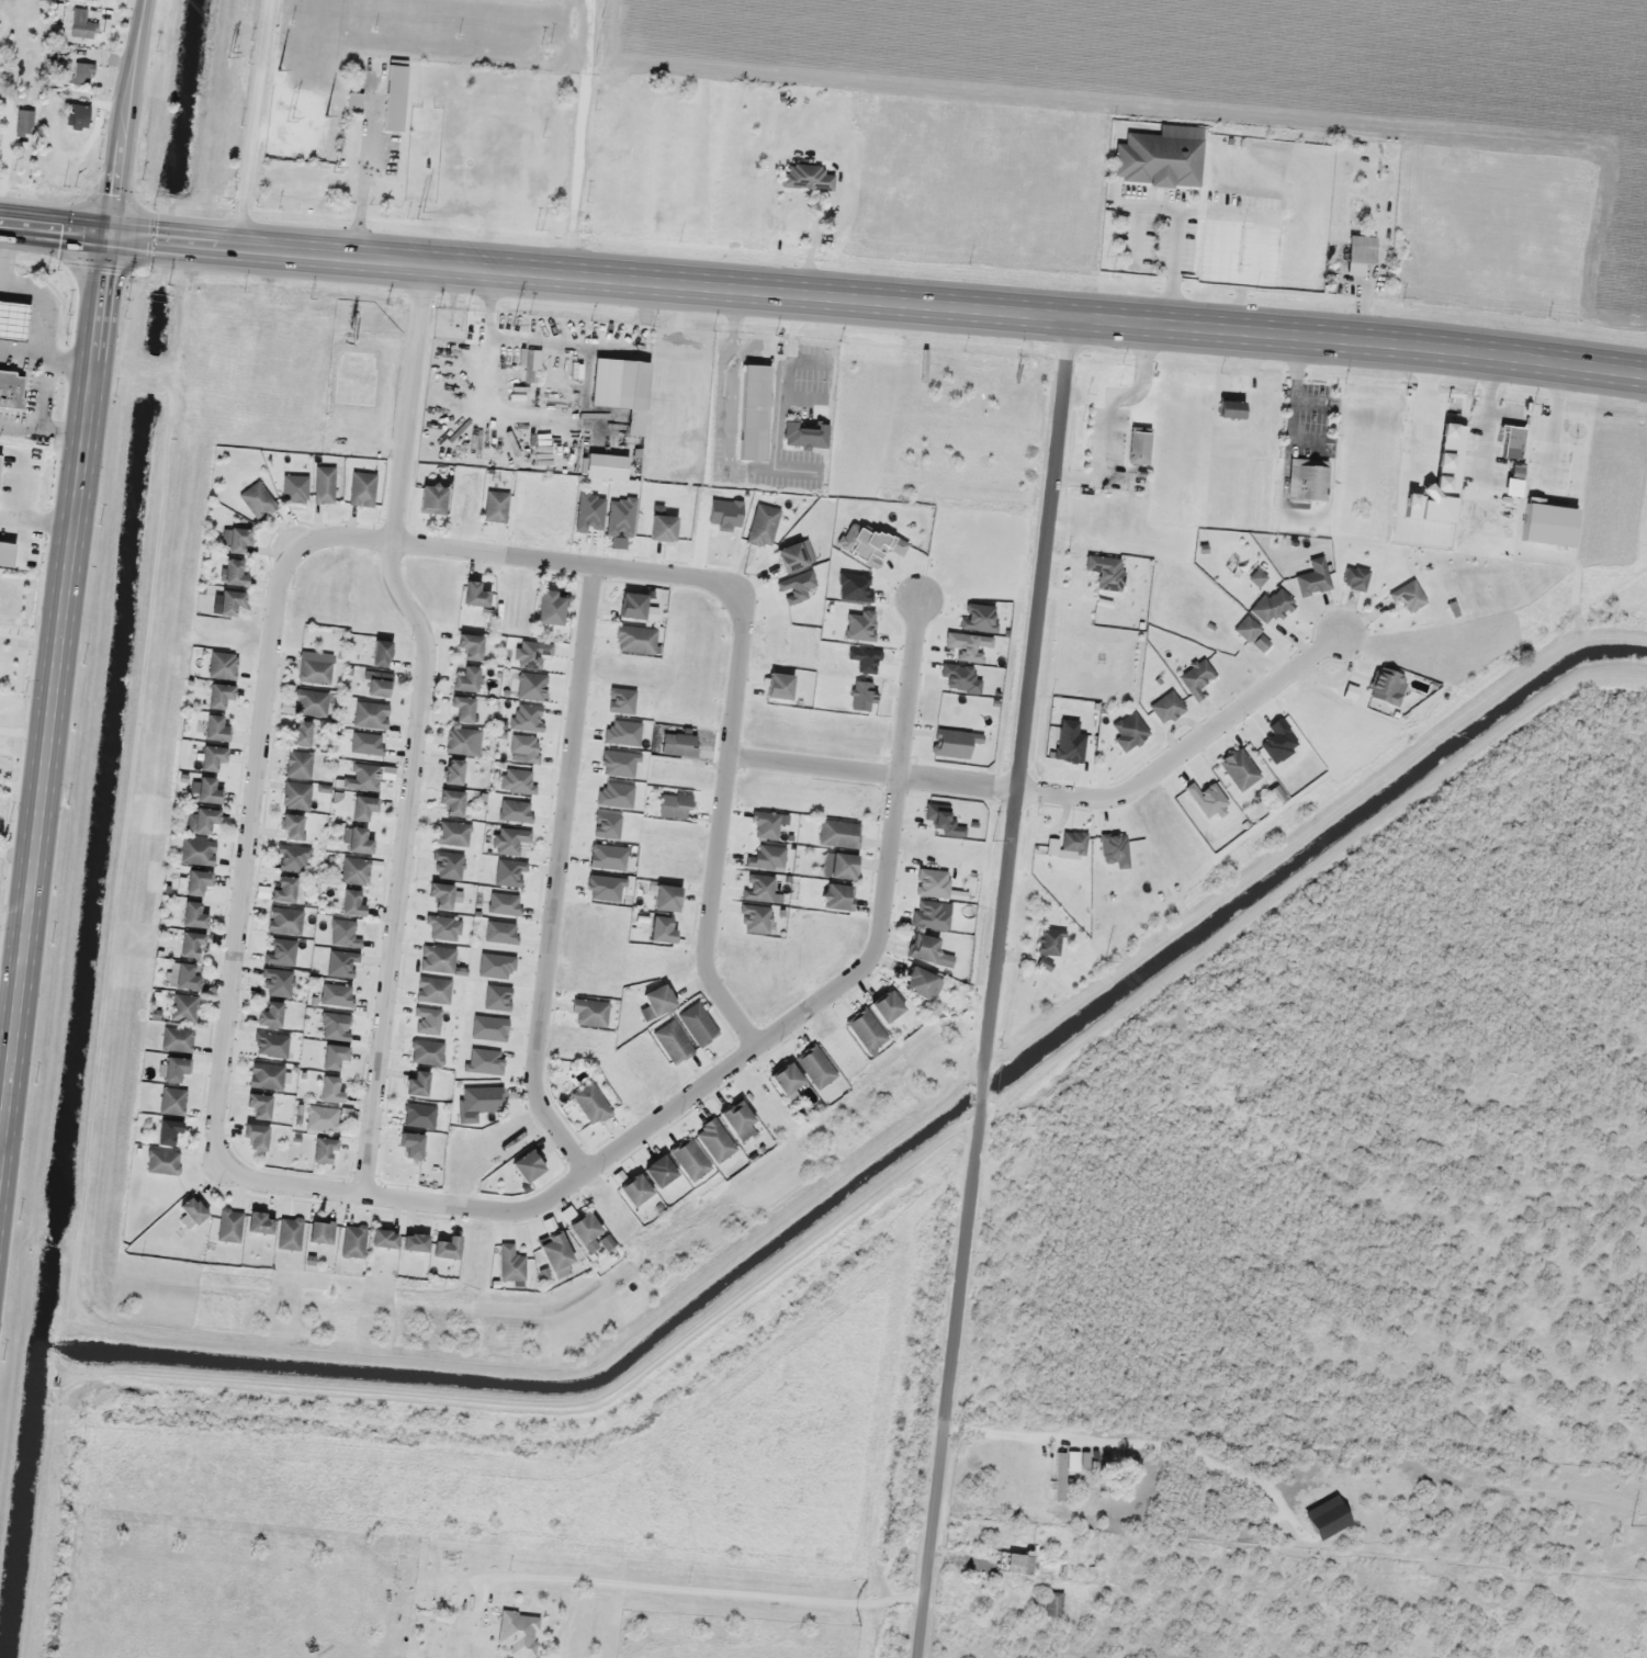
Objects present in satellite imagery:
building: (82, 25)
building: (82, 75)
building: (394, 98)
building: (353, 102)
building: (76, 116)
building: (24, 123)
road: (135, 123)
road: (253, 124)
building: (1159, 160)
building: (808, 178)
traffic signals: (122, 237)
building: (1361, 249)
road: (823, 295)
building: (12, 320)
building: (630, 385)
building: (11, 390)
road: (409, 407)
building: (753, 414)
building: (805, 435)
building: (1138, 447)
building: (1308, 480)
building: (324, 484)
building: (295, 488)
building: (362, 488)
building: (431, 498)
building: (257, 500)
building: (495, 506)
building: (764, 526)
building: (662, 527)
building: (238, 540)
building: (872, 542)
building: (790, 556)
building: (234, 572)
building: (1313, 578)
building: (1355, 578)
building: (474, 594)
building: (1408, 596)
building: (229, 601)
building: (631, 605)
building: (1272, 606)
building: (549, 607)
building: (1252, 634)
building: (635, 639)
building: (470, 646)
building: (380, 653)
building: (223, 665)
building: (315, 672)
building: (1196, 677)
building: (465, 679)
building: (379, 684)
building: (778, 685)
building: (1387, 687)
road: (268, 688)
building: (218, 695)
building: (311, 702)
building: (1166, 707)
building: (461, 709)
building: (371, 715)
building: (214, 729)
building: (1129, 730)
building: (301, 733)
road: (60, 737)
building: (460, 741)
building: (212, 757)
building: (298, 765)
building: (1239, 769)
building: (453, 771)
building: (207, 791)
building: (296, 796)
road: (1072, 798)
building: (451, 802)
building: (362, 807)
building: (202, 820)
building: (290, 827)
building: (453, 834)
building: (839, 834)
building: (358, 841)
building: (1073, 842)
building: (198, 851)
road: (895, 853)
building: (839, 866)
building: (356, 870)
road: (401, 872)
road: (562, 879)
building: (196, 882)
building: (283, 889)
building: (440, 894)
building: (837, 896)
building: (665, 898)
building: (351, 903)
building: (193, 915)
building: (284, 921)
building: (662, 928)
building: (1049, 941)
building: (190, 945)
building: (927, 950)
building: (438, 959)
building: (185, 977)
building: (918, 982)
road: (1004, 986)
building: (433, 990)
building: (657, 1000)
building: (885, 1006)
building: (183, 1007)
building: (590, 1012)
building: (272, 1015)
building: (698, 1024)
building: (866, 1030)
building: (177, 1039)
building: (673, 1042)
building: (427, 1052)
building: (332, 1057)
building: (815, 1067)
building: (174, 1069)
building: (267, 1076)
building: (785, 1079)
building: (417, 1083)
building: (329, 1090)
building: (482, 1099)
building: (172, 1102)
building: (590, 1104)
building: (257, 1107)
building: (419, 1116)
building: (321, 1118)
building: (738, 1120)
building: (168, 1133)
building: (255, 1137)
building: (714, 1140)
building: (410, 1144)
building: (323, 1151)
road: (3, 1159)
building: (690, 1160)
building: (162, 1162)
building: (526, 1166)
building: (658, 1171)
building: (634, 1191)
building: (192, 1211)
building: (260, 1223)
building: (229, 1227)
building: (585, 1231)
building: (320, 1232)
building: (290, 1234)
building: (383, 1239)
building: (353, 1241)
building: (414, 1243)
building: (445, 1248)
building: (554, 1252)
building: (510, 1264)
building: (1085, 1460)
building: (1015, 1564)
road: (711, 1589)
building: (1052, 1604)
building: (519, 1633)

